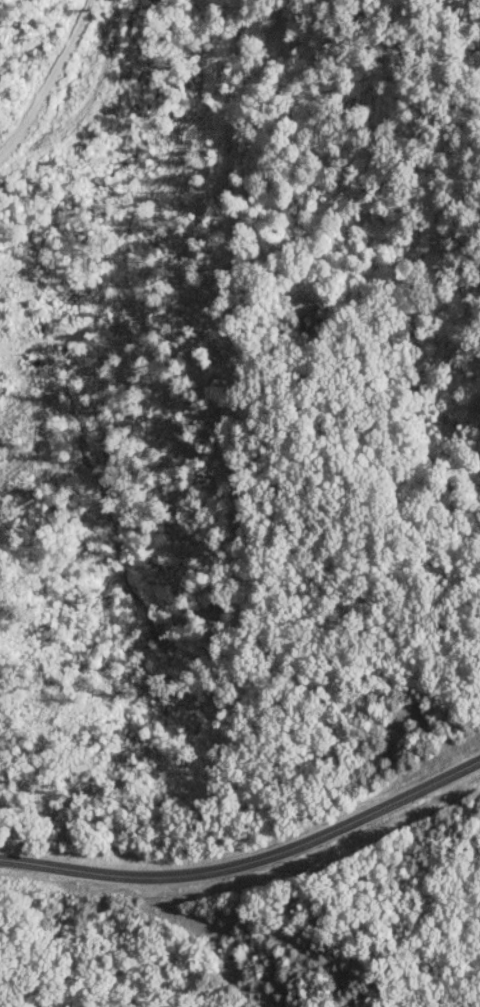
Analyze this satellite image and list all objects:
road: (250, 867)

